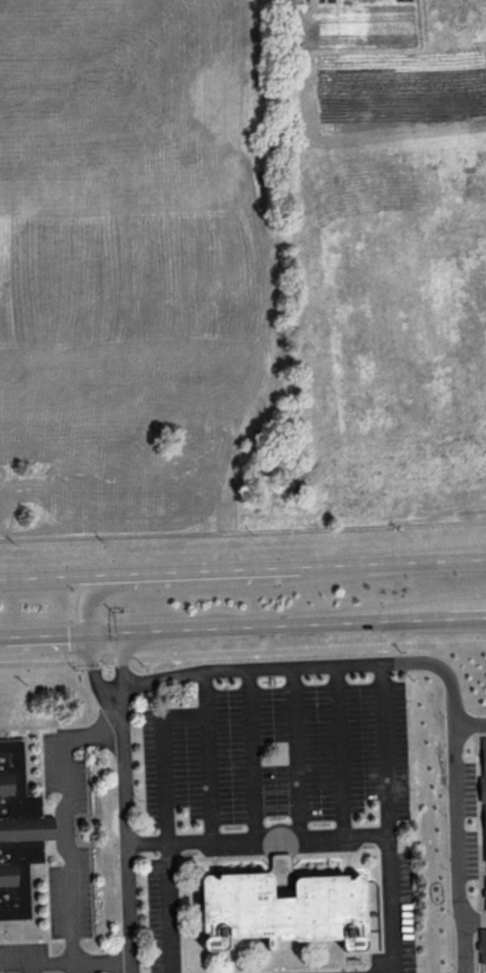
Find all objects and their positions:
crop: (241, 266)
road: (427, 555)
road: (184, 566)
road: (212, 583)
road: (438, 610)
road: (439, 625)
road: (241, 633)
traffic signals: (90, 639)
road: (45, 640)
road: (242, 650)
road: (251, 666)
road: (121, 681)
road: (98, 684)
road: (469, 721)
road: (92, 737)
road: (340, 748)
road: (295, 750)
road: (251, 752)
road: (209, 754)
road: (162, 759)
building: (484, 787)
parking lot: (269, 788)
road: (455, 788)
road: (388, 816)
building: (19, 832)
road: (257, 836)
road: (126, 849)
road: (68, 855)
parking lot: (60, 868)
road: (168, 906)
building: (283, 907)
building: (483, 945)
road: (66, 963)
road: (30, 968)

